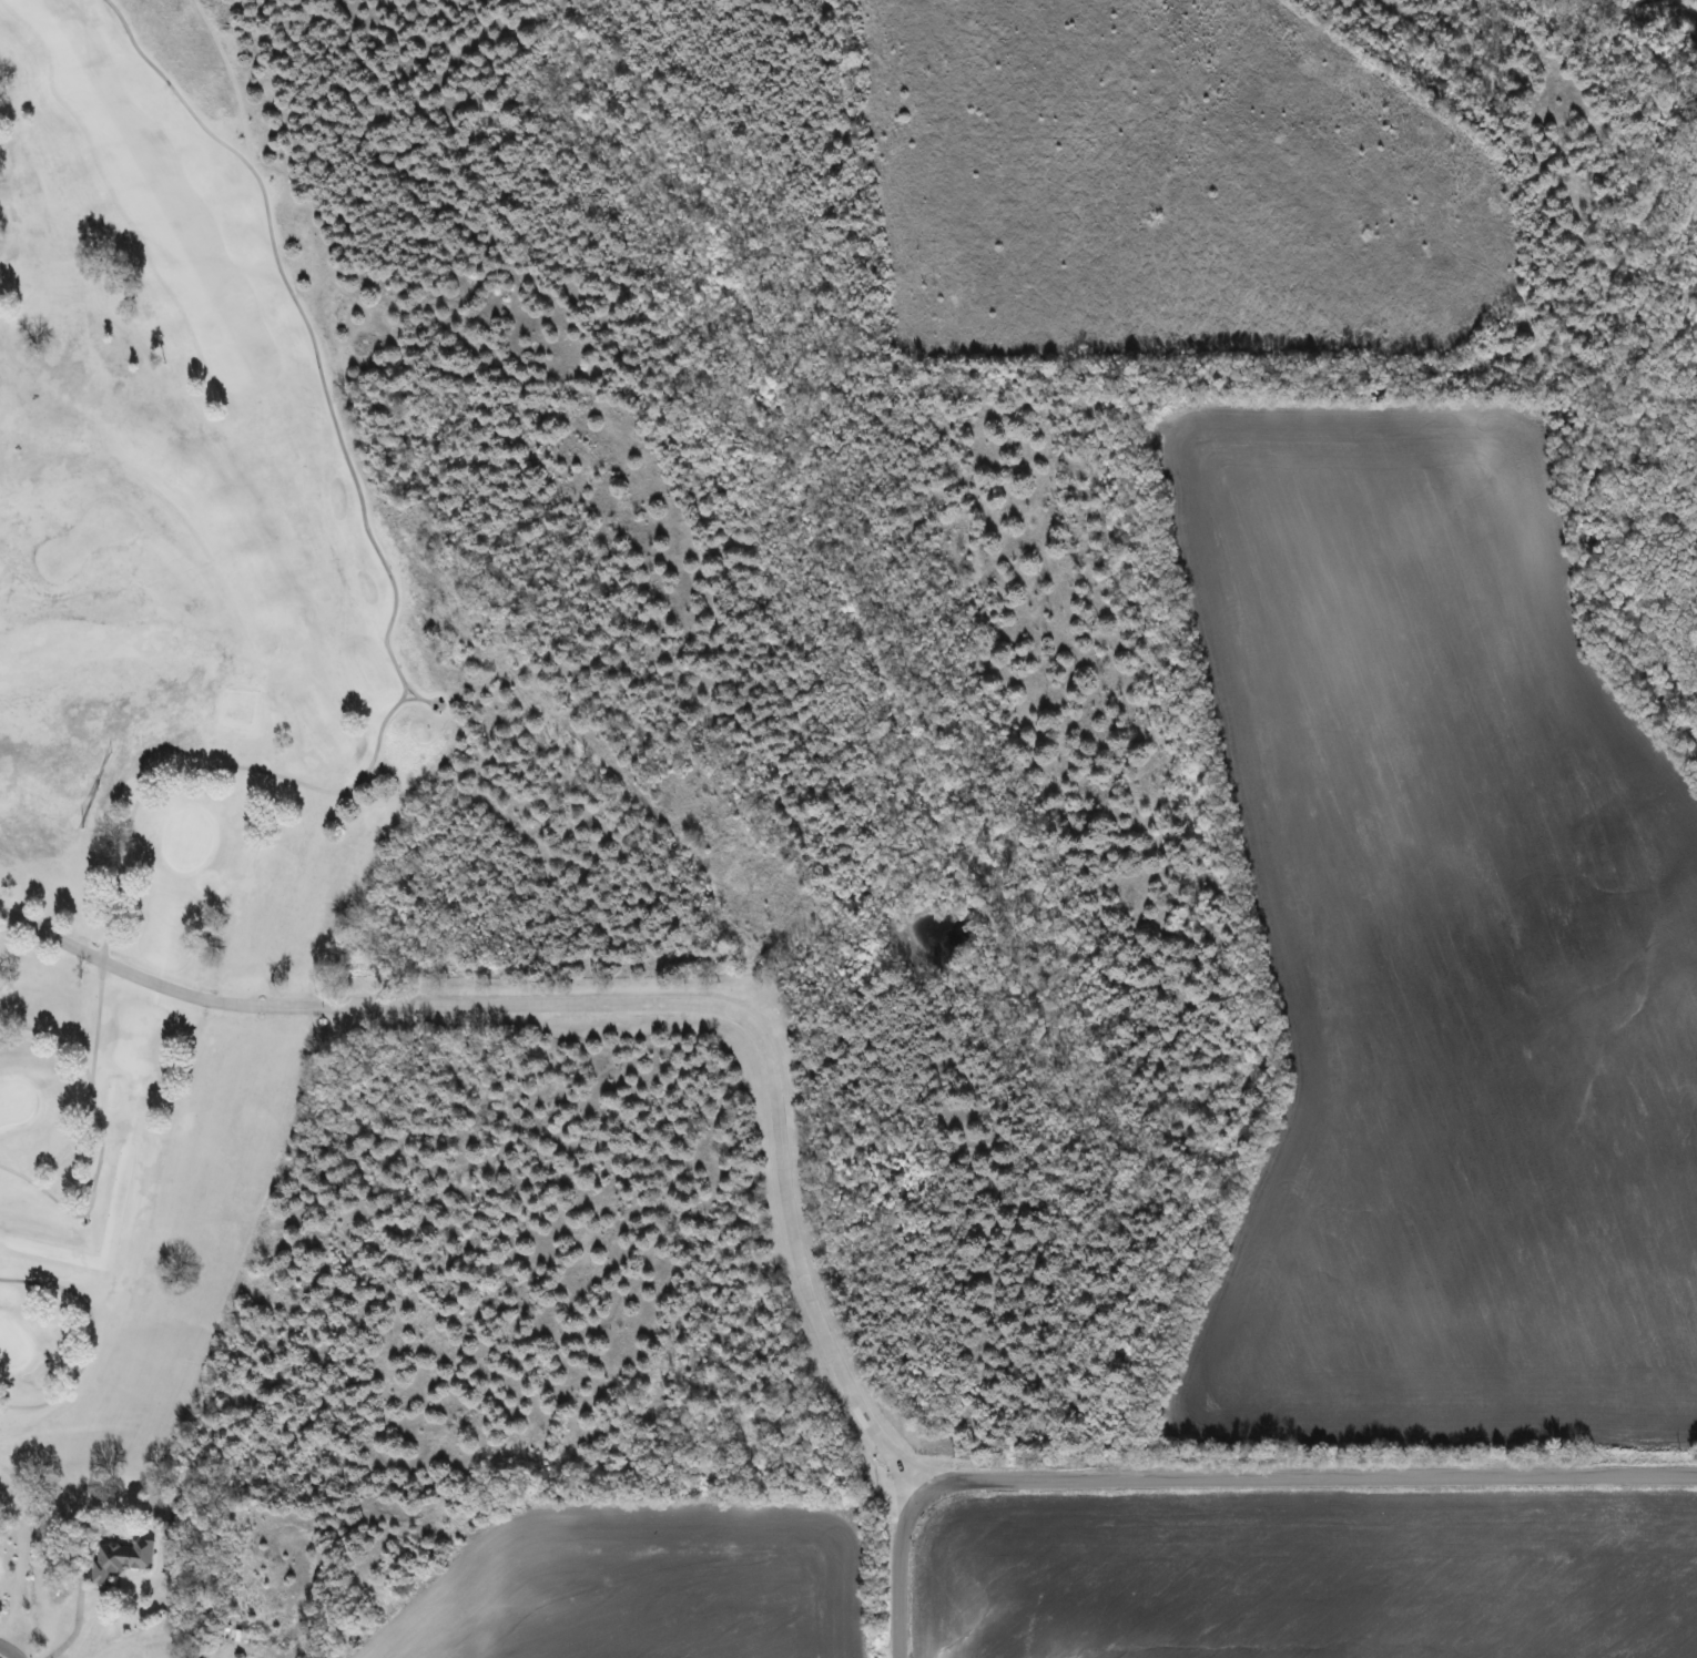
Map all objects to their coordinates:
road: (622, 1004)
road: (1221, 1478)
building: (116, 1558)
road: (75, 1624)
road: (9, 1649)

